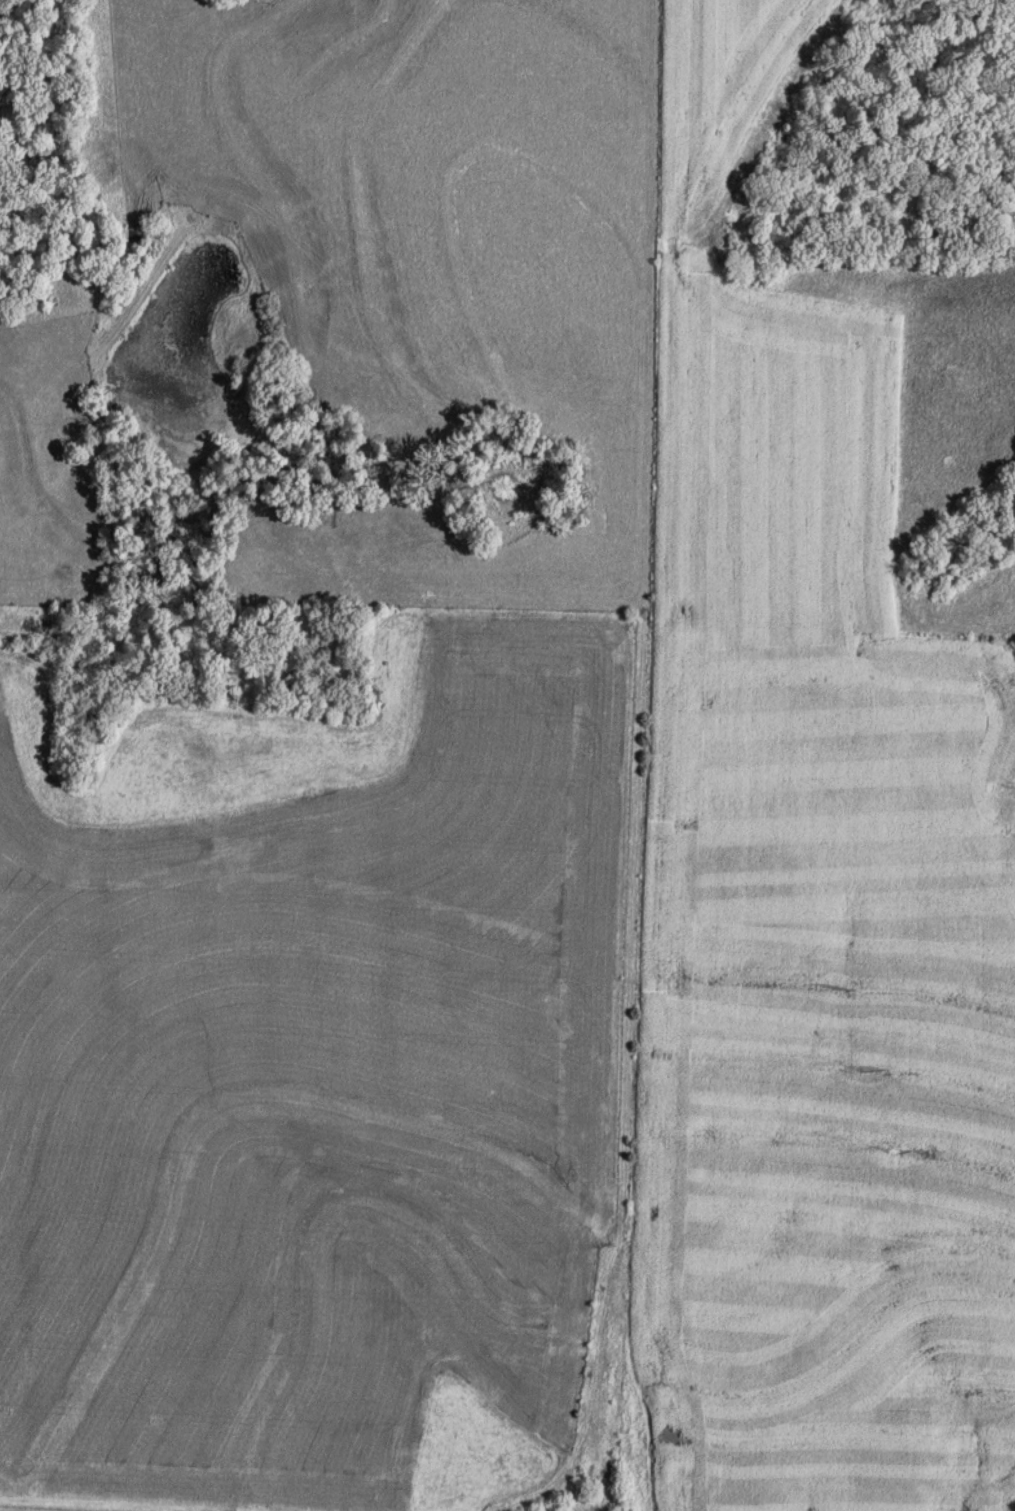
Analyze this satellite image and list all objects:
crop: (311, 1067)
crop: (825, 1069)
crop: (40, 1508)

